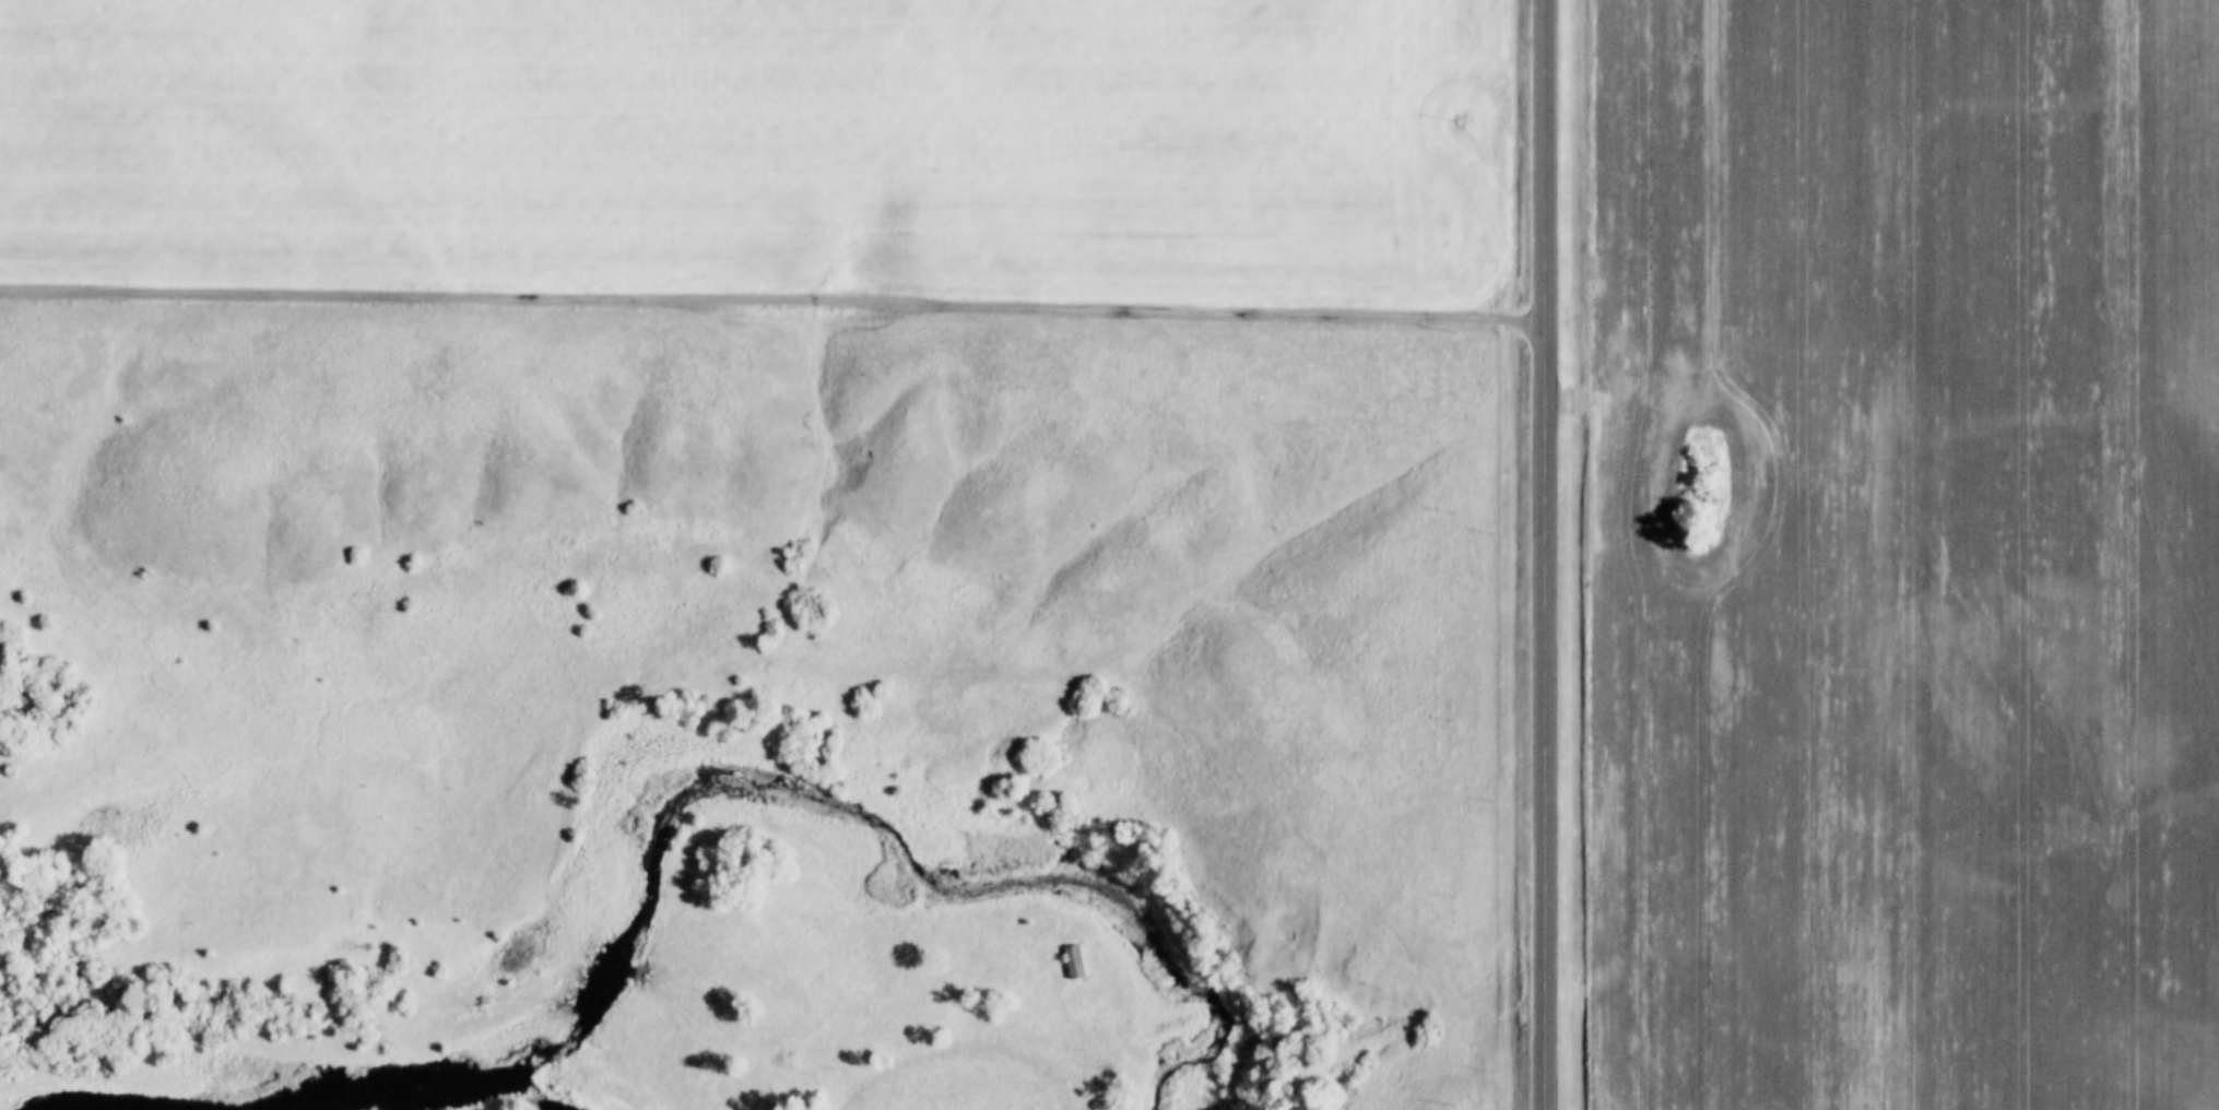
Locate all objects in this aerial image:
road: (771, 297)
road: (1544, 555)
building: (1073, 965)
road: (957, 1050)

